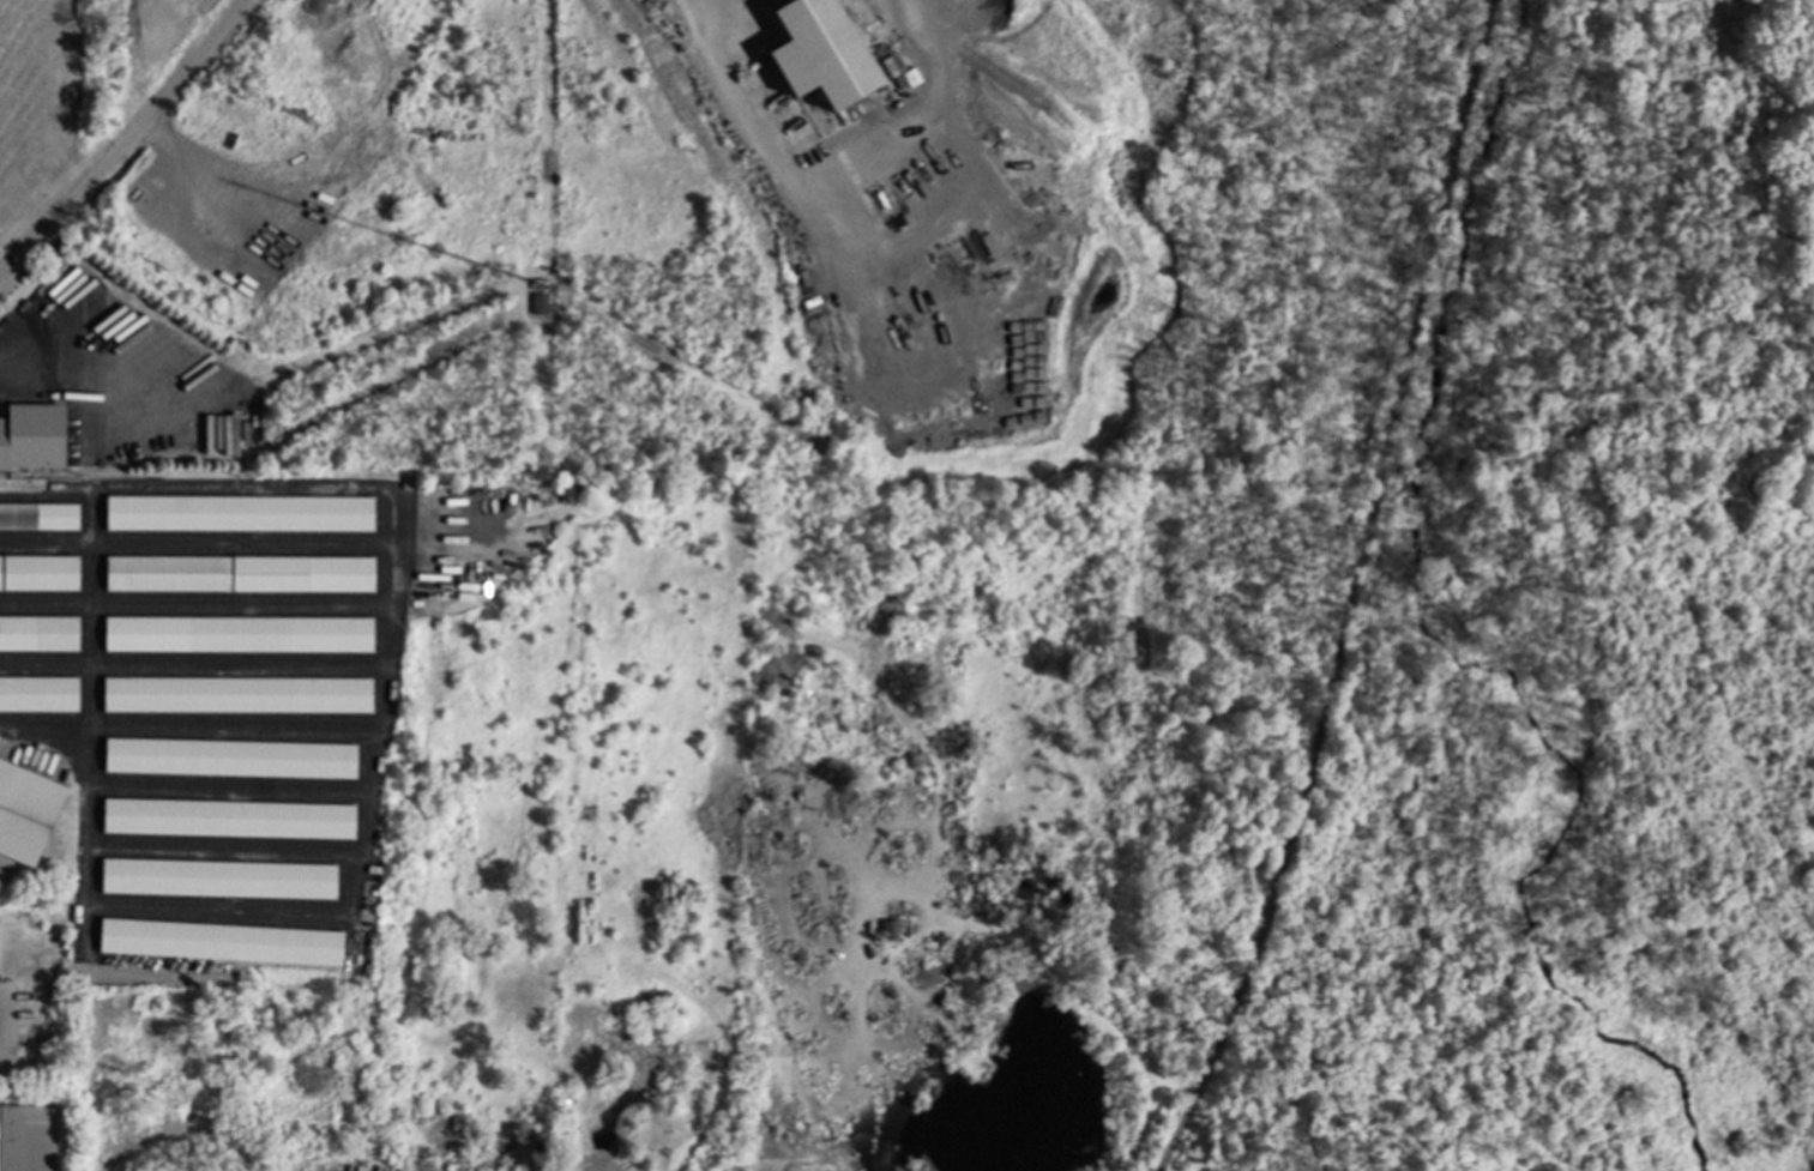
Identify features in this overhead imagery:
road: (712, 23)
building: (821, 52)
road: (117, 137)
building: (538, 303)
road: (7, 384)
building: (31, 436)
building: (237, 512)
building: (38, 515)
building: (38, 572)
building: (239, 573)
road: (1351, 592)
building: (38, 632)
building: (236, 633)
building: (38, 693)
building: (236, 694)
building: (229, 757)
building: (25, 810)
building: (227, 817)
quarry: (815, 821)
building: (217, 877)
building: (888, 929)
building: (219, 941)
building: (26, 1137)
quarry: (1235, 1137)

